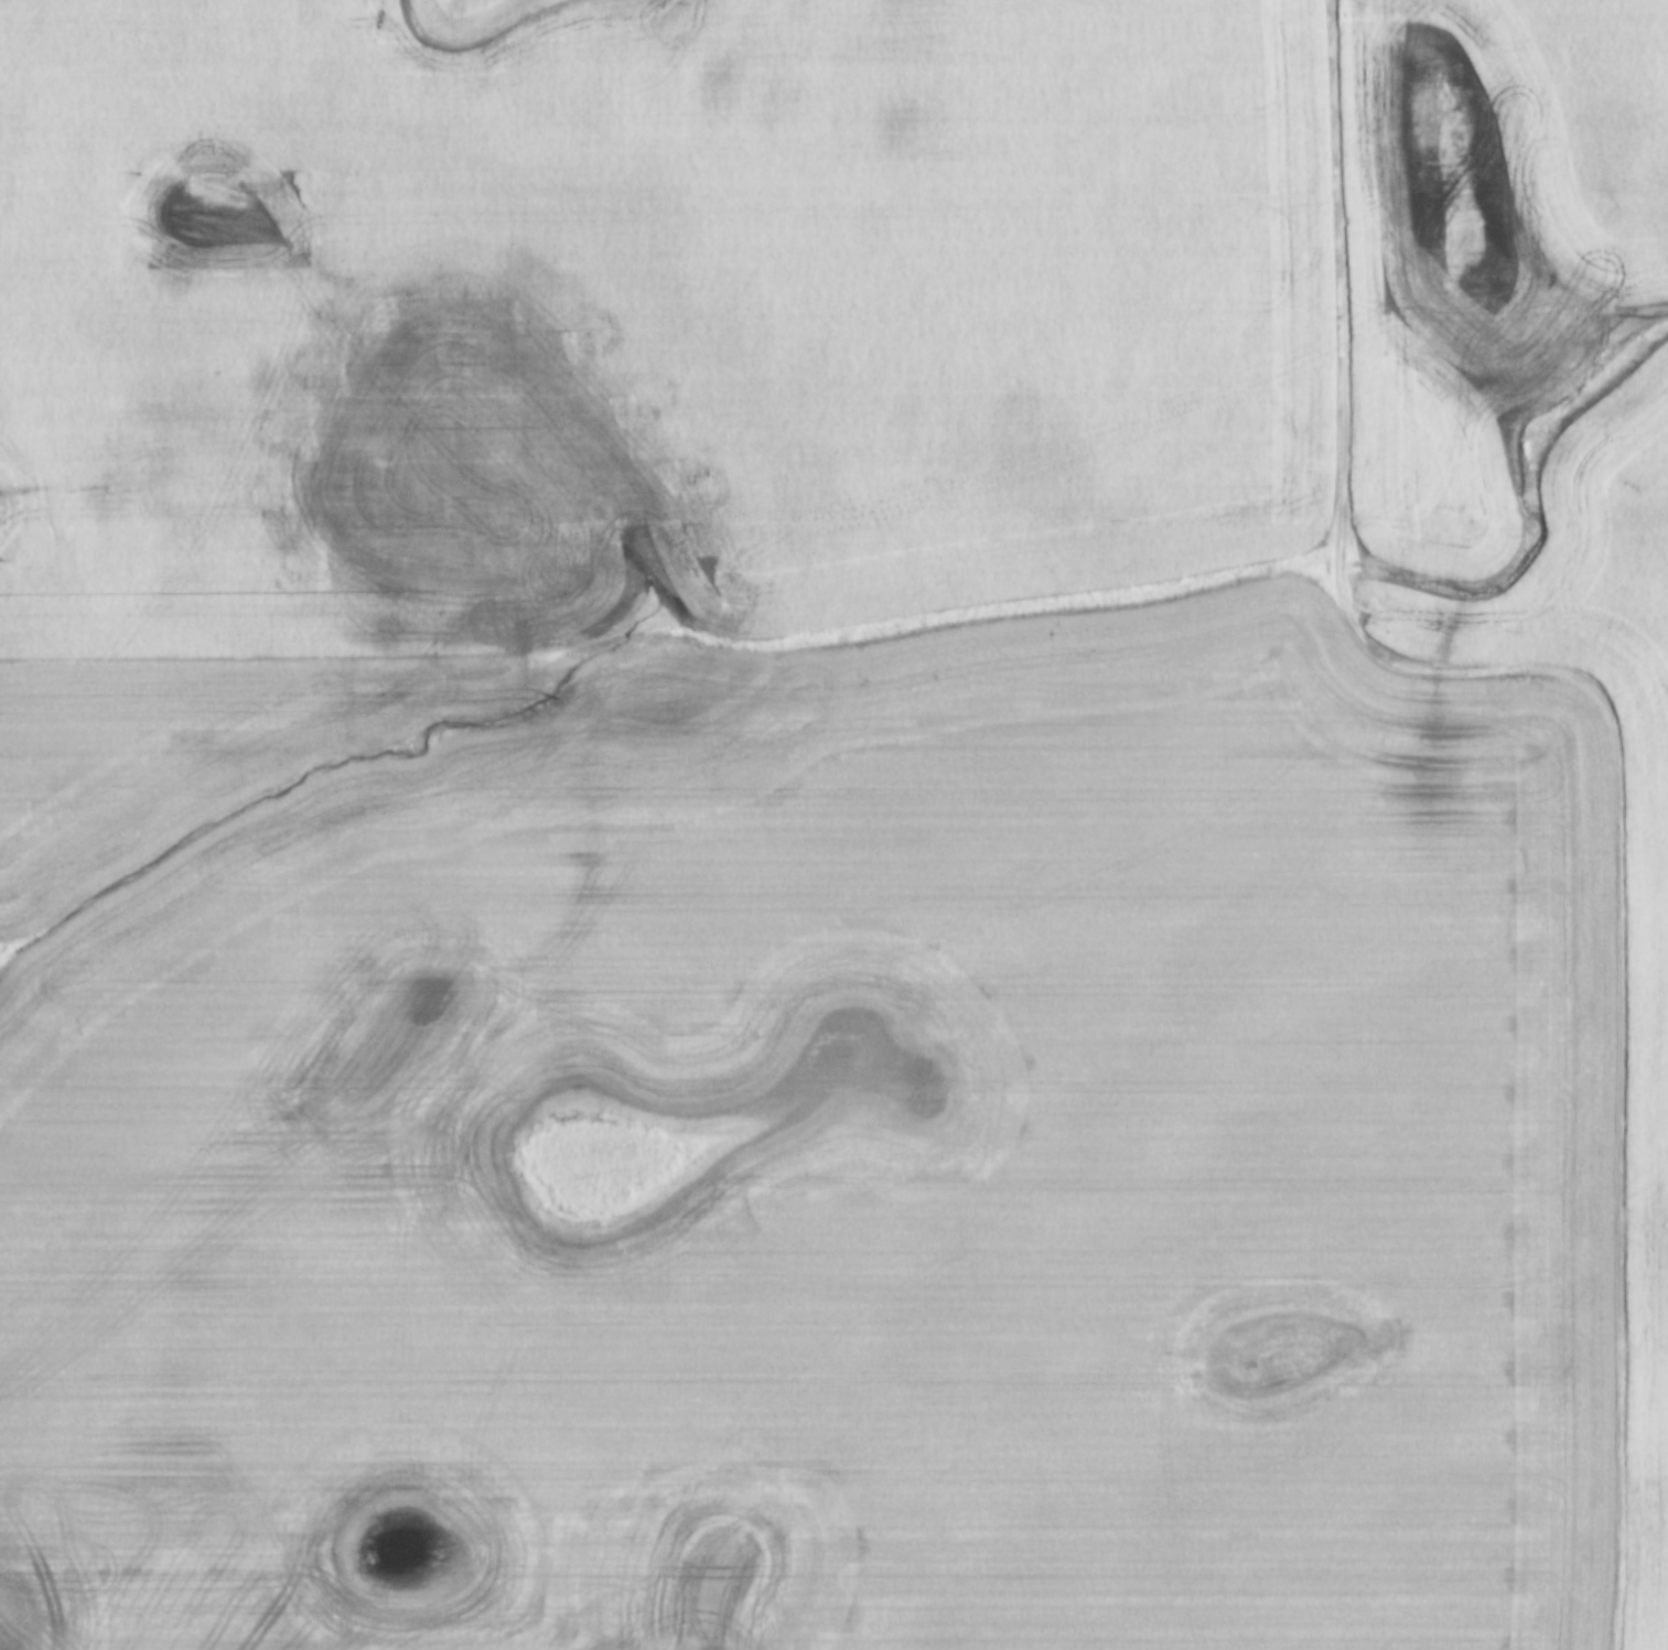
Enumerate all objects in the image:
road: (1582, 719)

